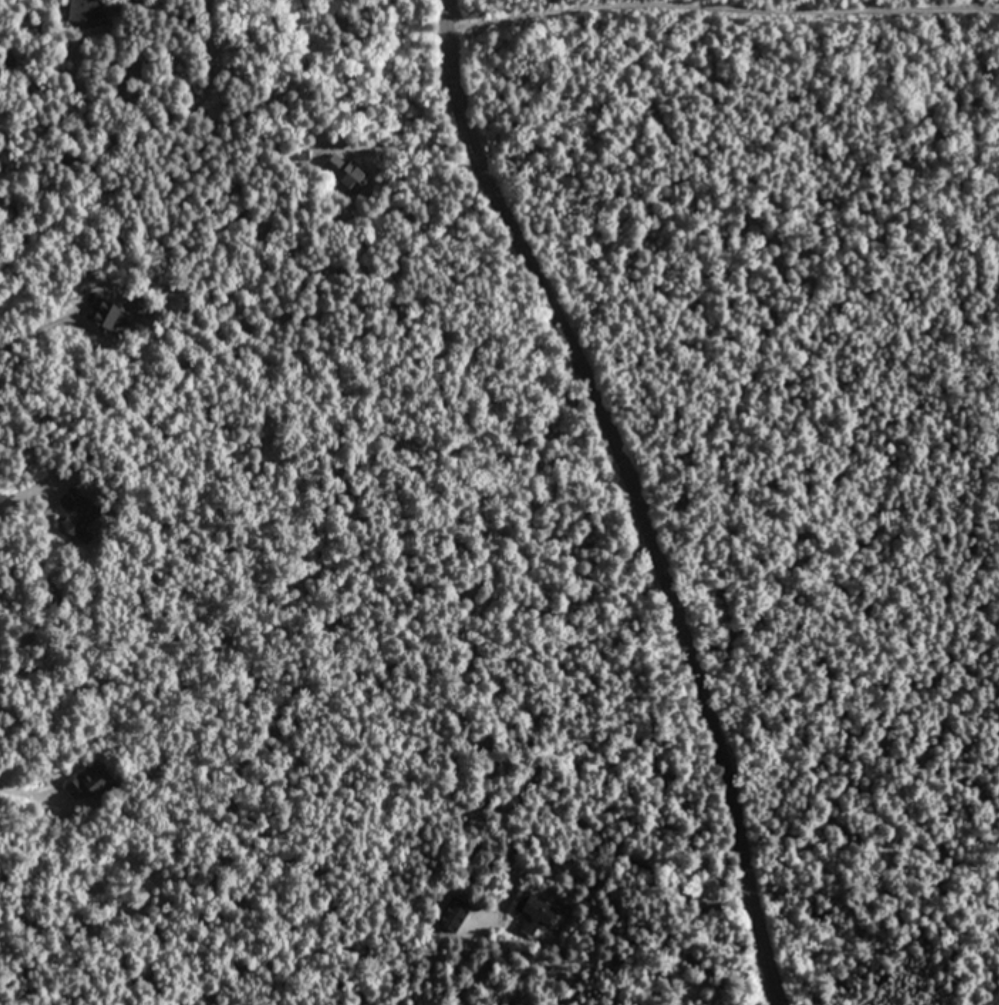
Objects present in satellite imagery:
road: (723, 8)
building: (82, 10)
building: (108, 315)
road: (630, 495)
building: (78, 513)
building: (89, 781)
building: (534, 907)

